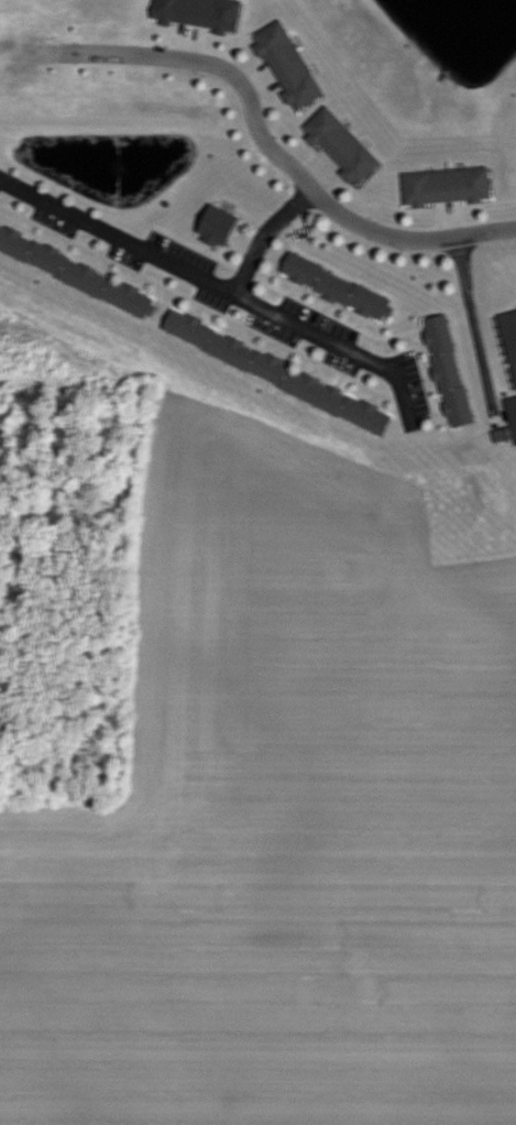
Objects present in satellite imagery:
building: (289, 66)
building: (342, 145)
road: (276, 150)
building: (448, 186)
building: (219, 227)
road: (176, 262)
building: (78, 273)
building: (337, 287)
road: (472, 316)
building: (510, 336)
road: (332, 338)
building: (449, 371)
building: (278, 373)
building: (513, 409)

